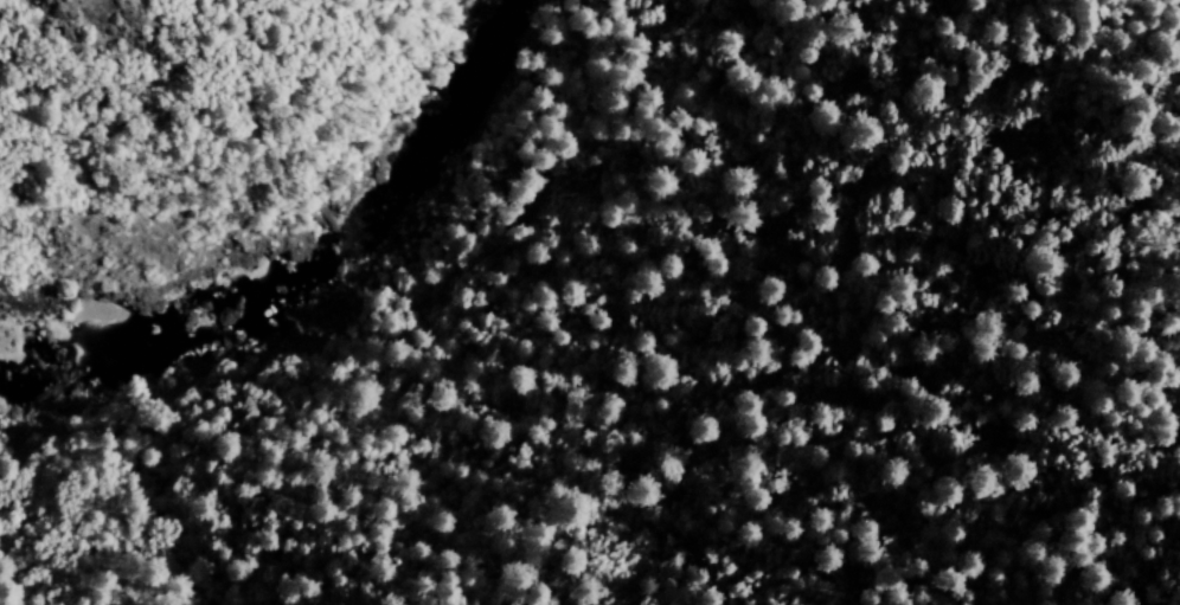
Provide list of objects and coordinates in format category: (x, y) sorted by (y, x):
river: (500, 84)
road: (178, 94)
river: (306, 272)

